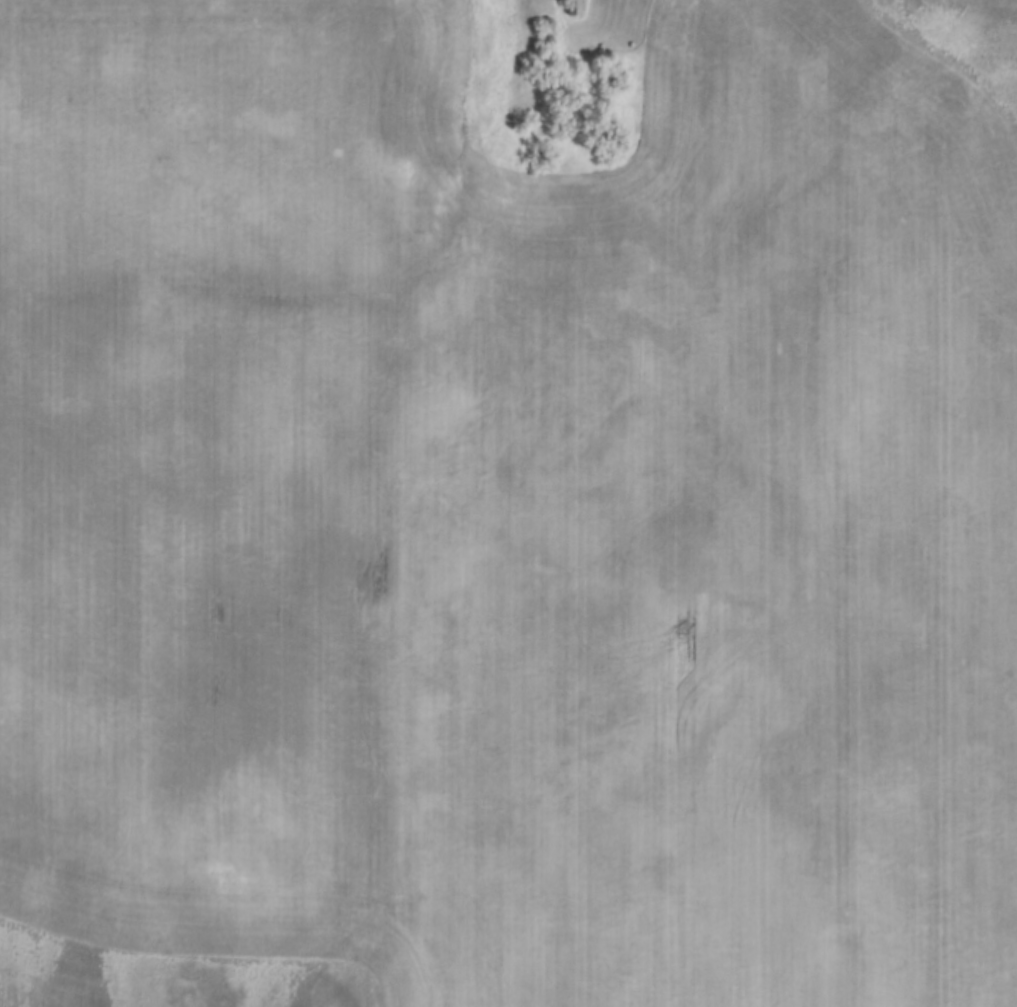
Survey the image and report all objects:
building: (573, 7)

